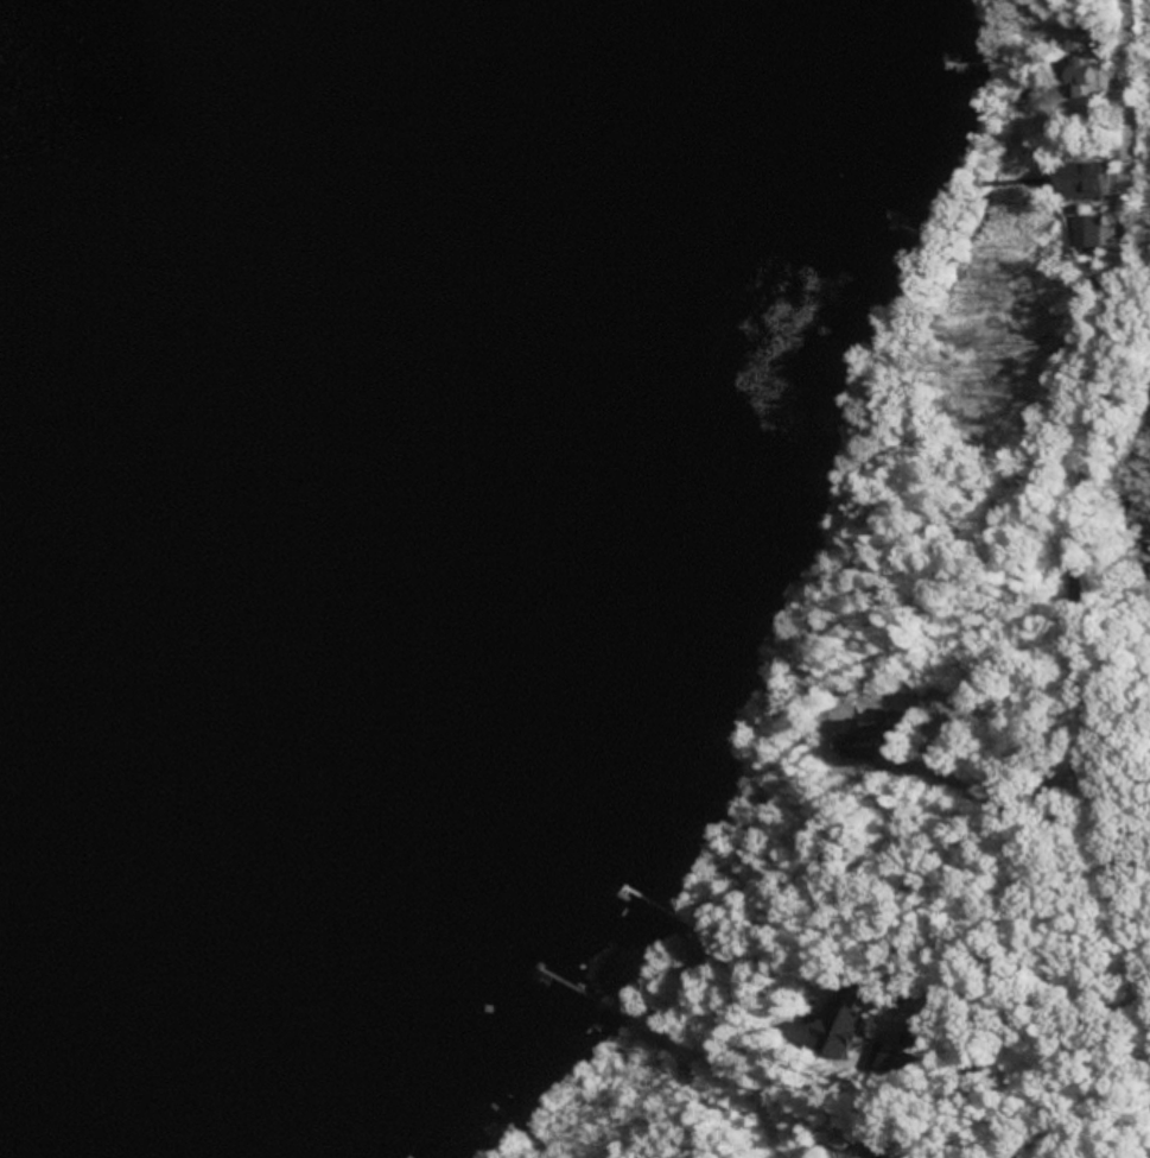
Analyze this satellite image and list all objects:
building: (1075, 77)
building: (1078, 183)
building: (1089, 234)
building: (1101, 290)
road: (1080, 492)
building: (873, 735)
building: (837, 1033)
building: (885, 1059)

